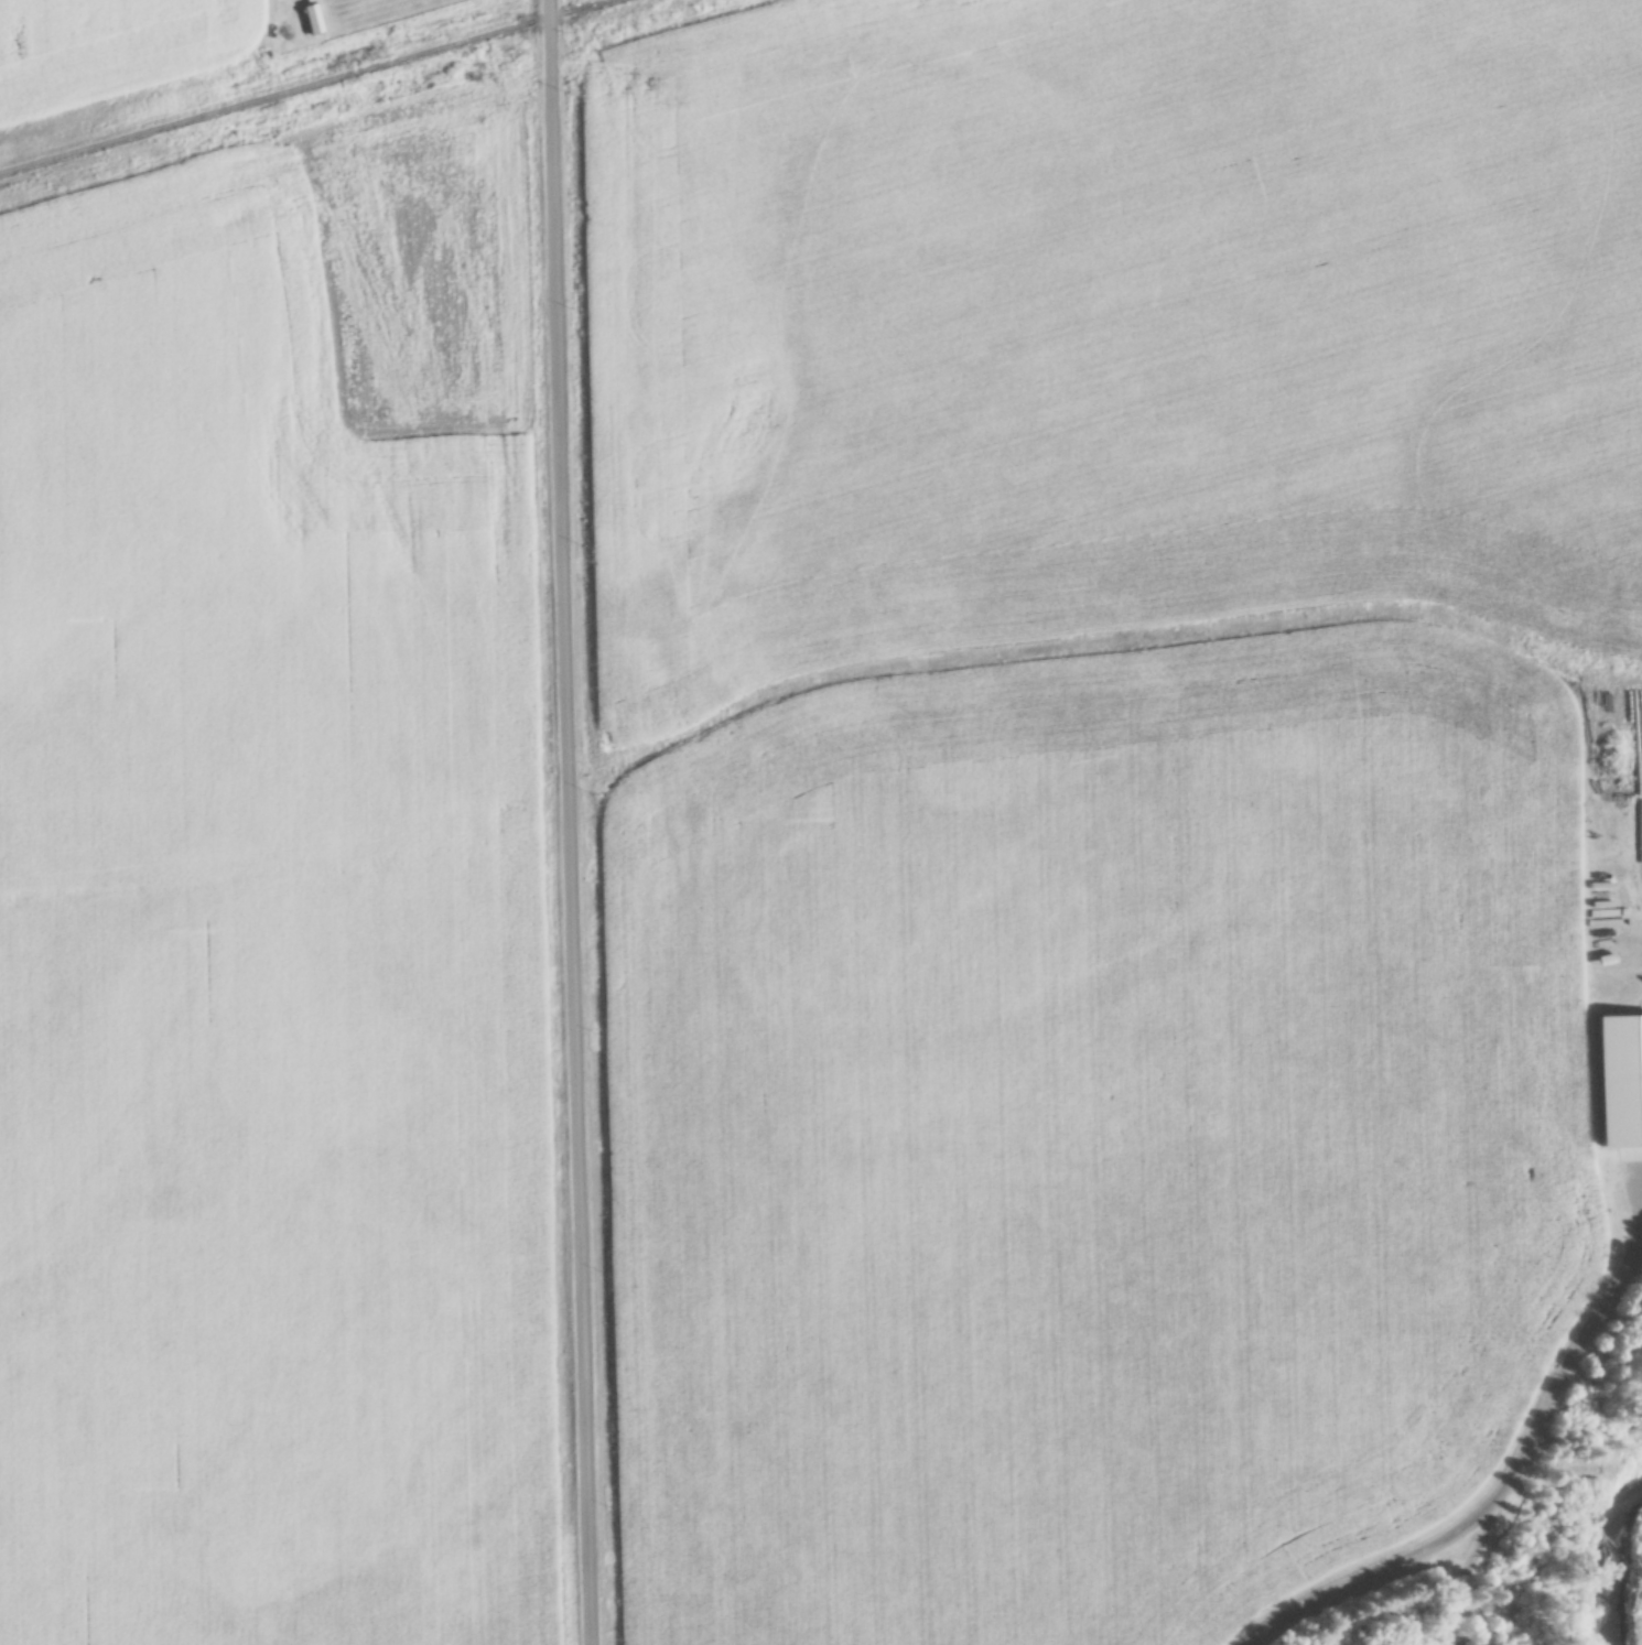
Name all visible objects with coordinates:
railway: (309, 87)
road: (569, 822)
building: (1620, 1081)
road: (1500, 1473)
building: (1463, 1643)

